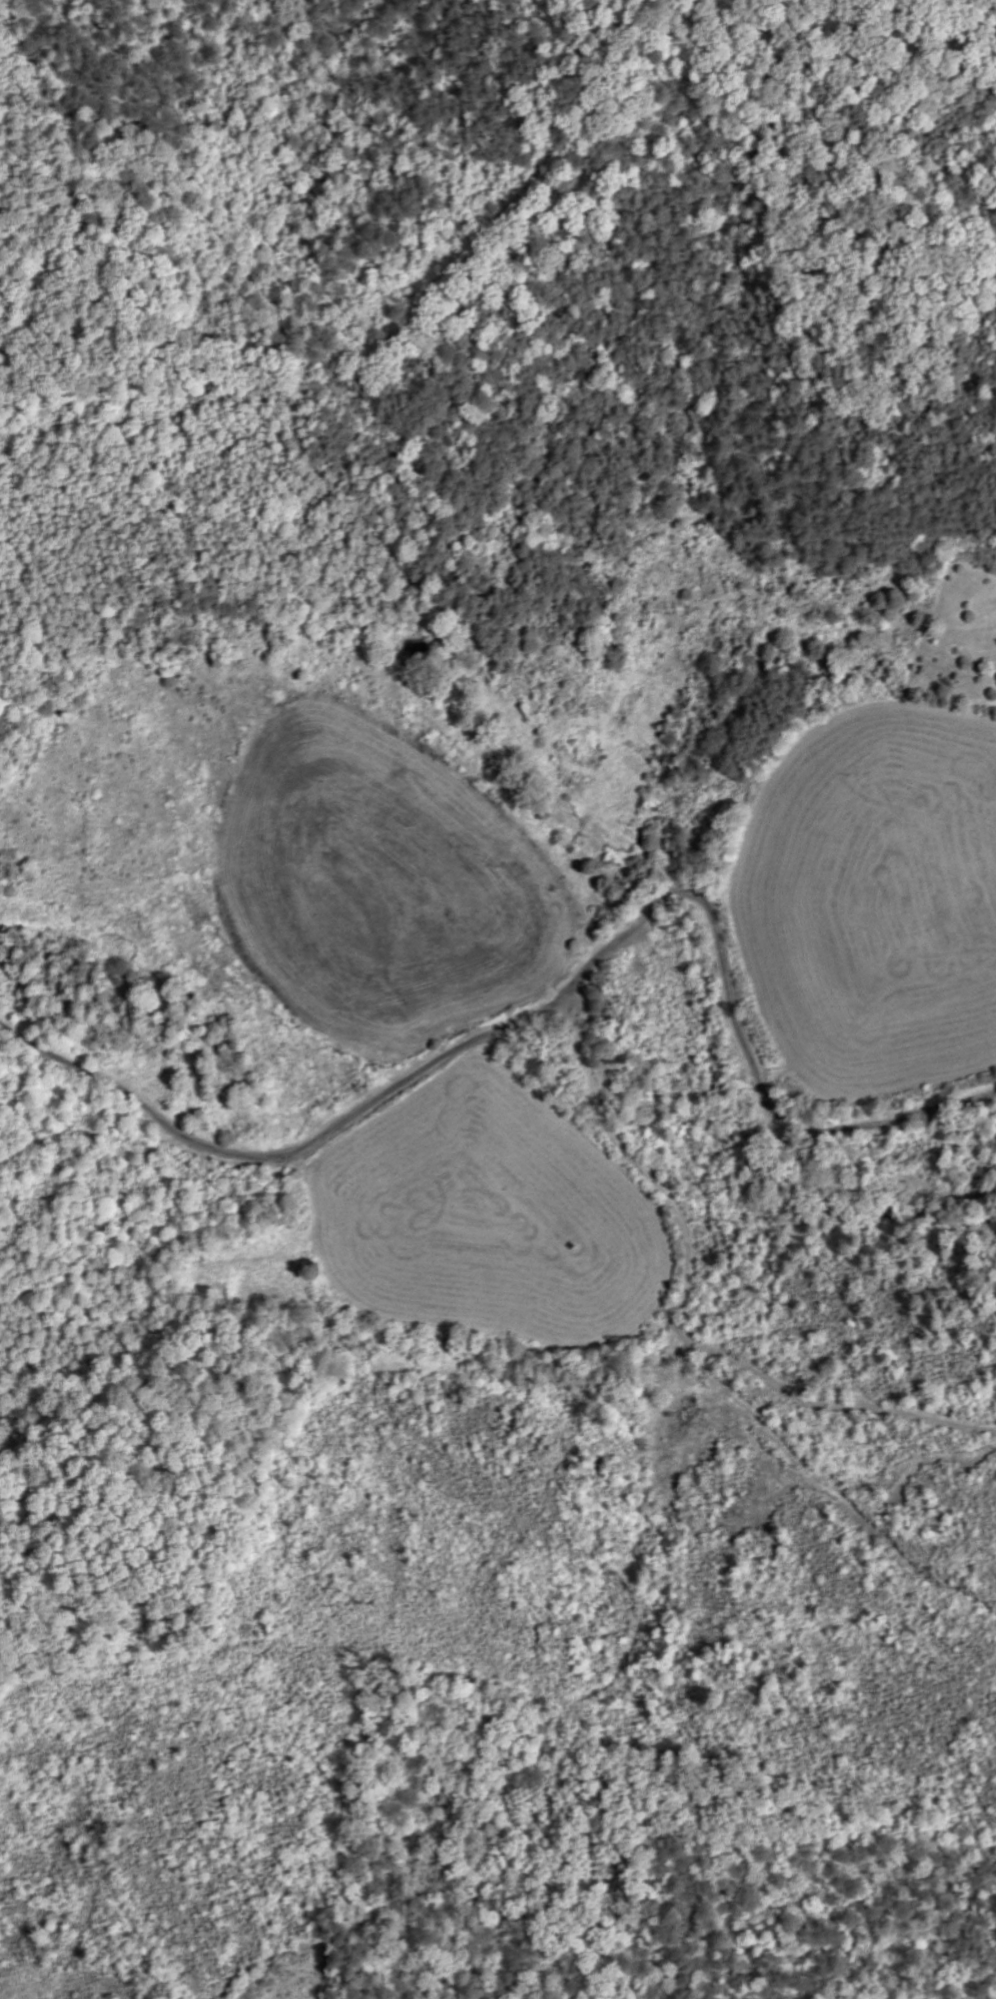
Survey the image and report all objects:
road: (725, 975)
road: (352, 1114)
road: (864, 1125)

